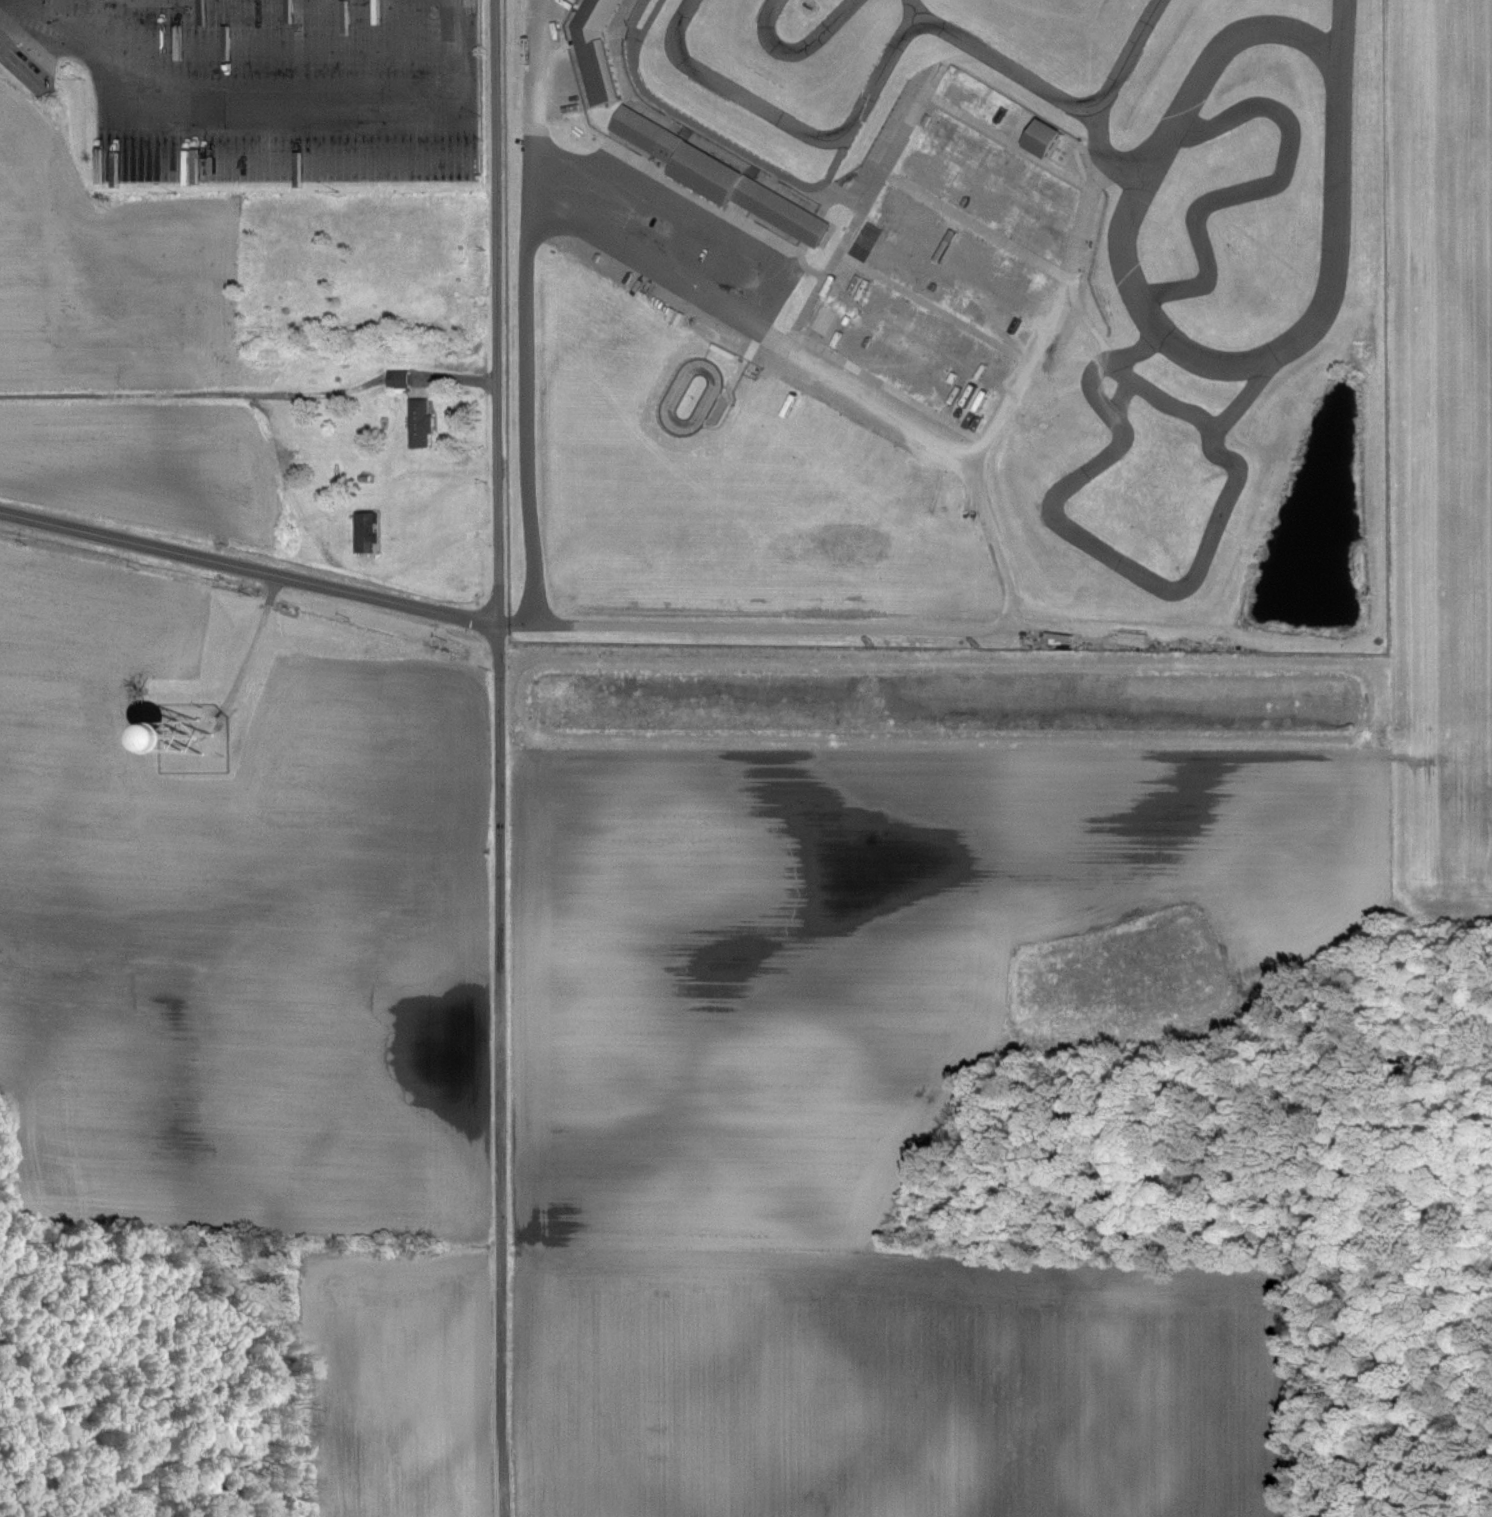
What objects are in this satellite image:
raceway: (916, 13)
road: (123, 22)
road: (59, 37)
raceway: (1346, 40)
raceway: (897, 43)
building: (172, 44)
raceway: (801, 47)
building: (597, 53)
road: (17, 55)
road: (946, 68)
parking lot: (257, 89)
road: (308, 110)
road: (533, 112)
raceway: (715, 137)
building: (1037, 137)
road: (1009, 146)
raceway: (1103, 152)
building: (174, 167)
road: (1102, 177)
building: (723, 183)
raceway: (1260, 192)
road: (844, 195)
road: (858, 224)
road: (978, 226)
road: (681, 228)
parking lot: (853, 282)
road: (933, 309)
raceway: (1144, 322)
road: (756, 329)
road: (1041, 332)
building: (397, 380)
raceway: (1162, 397)
building: (419, 424)
road: (526, 426)
raceway: (675, 426)
building: (365, 533)
raceway: (1122, 566)
road: (250, 567)
road: (836, 630)
raceway: (948, 654)
road: (245, 656)
water tower: (201, 735)
road: (499, 758)

